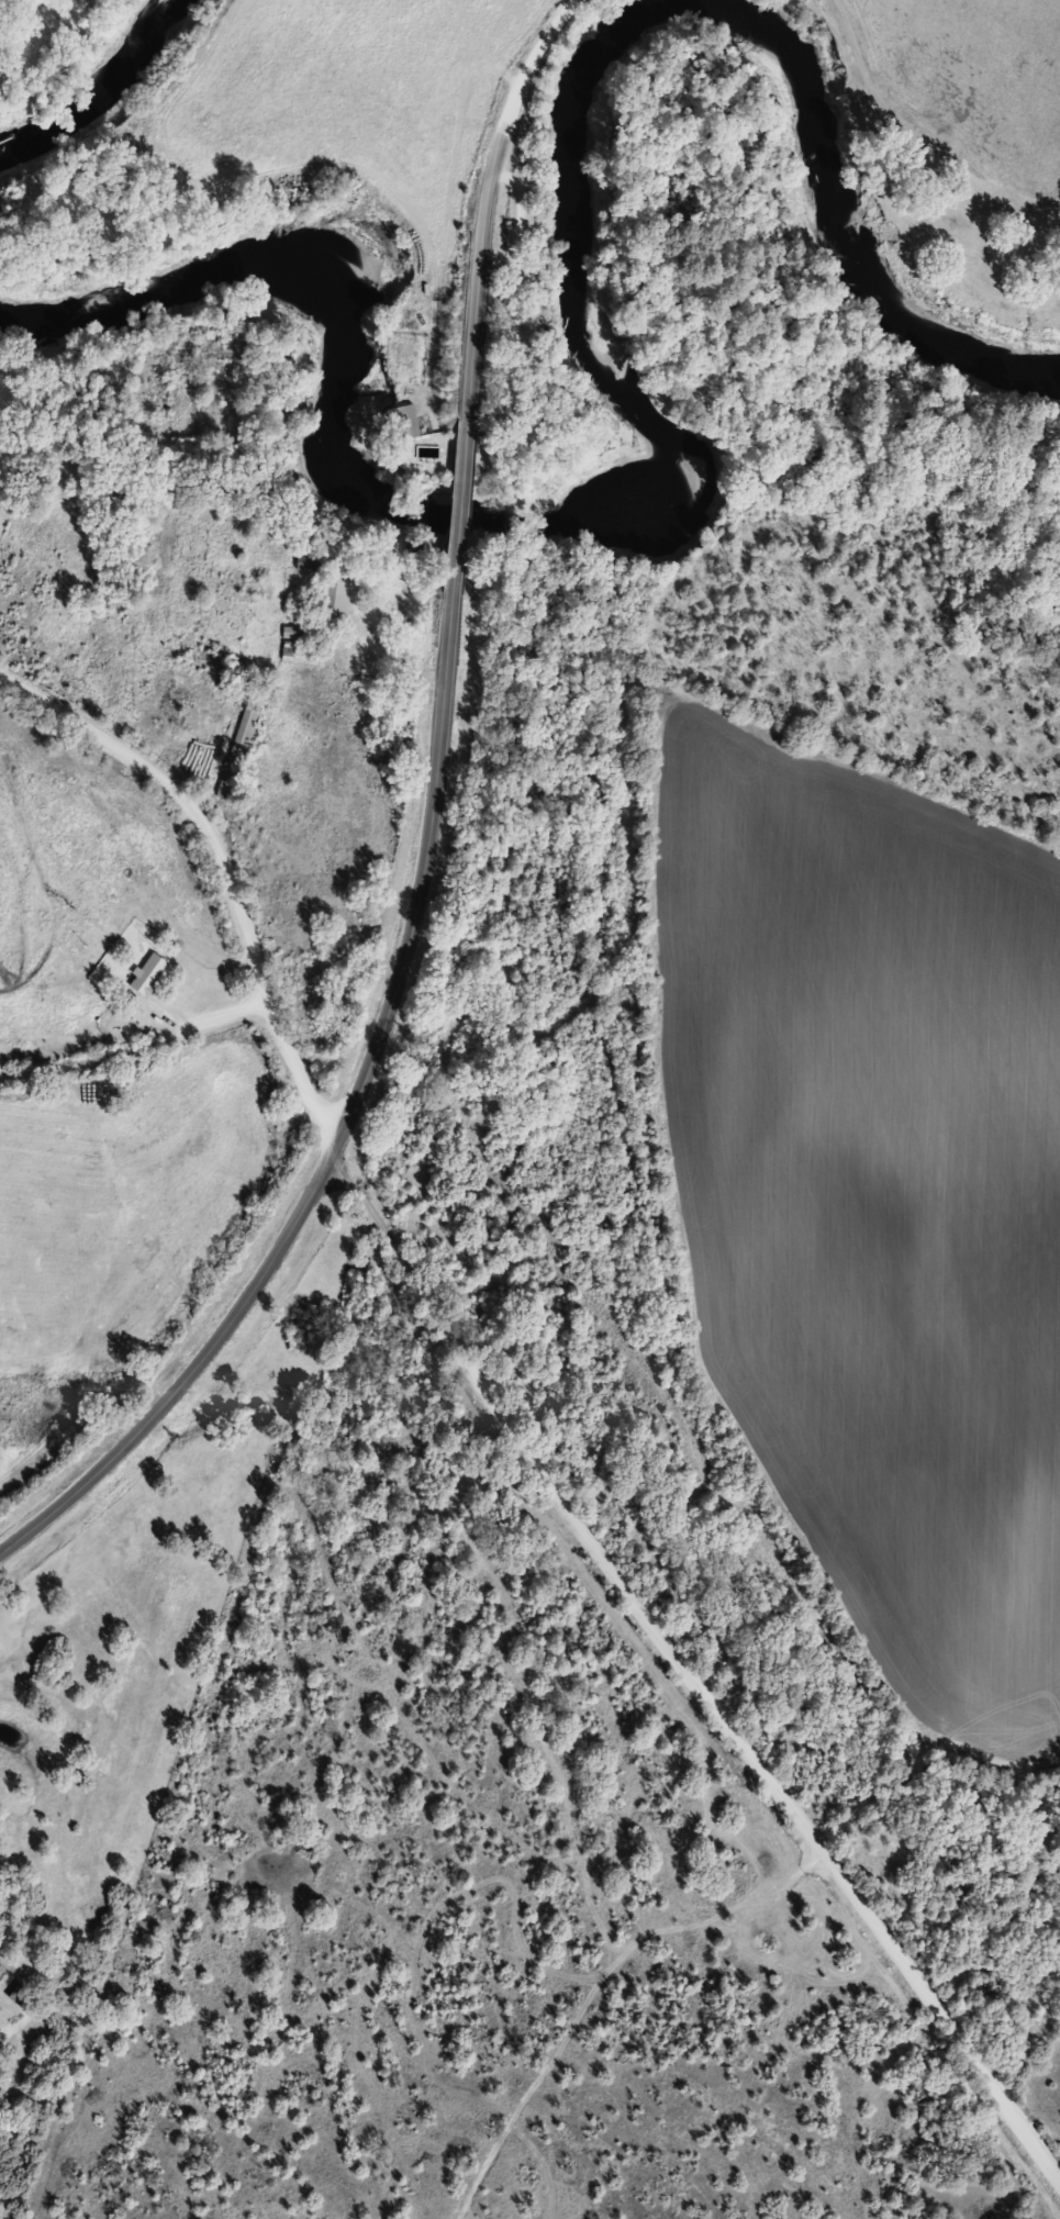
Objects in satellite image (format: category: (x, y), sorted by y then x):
river: (104, 90)
road: (486, 207)
river: (645, 411)
building: (412, 422)
road: (455, 523)
building: (311, 562)
building: (341, 602)
building: (290, 644)
building: (241, 754)
road: (216, 887)
building: (152, 973)
road: (130, 1041)
road: (342, 1137)
road: (693, 1687)
road: (920, 1762)

